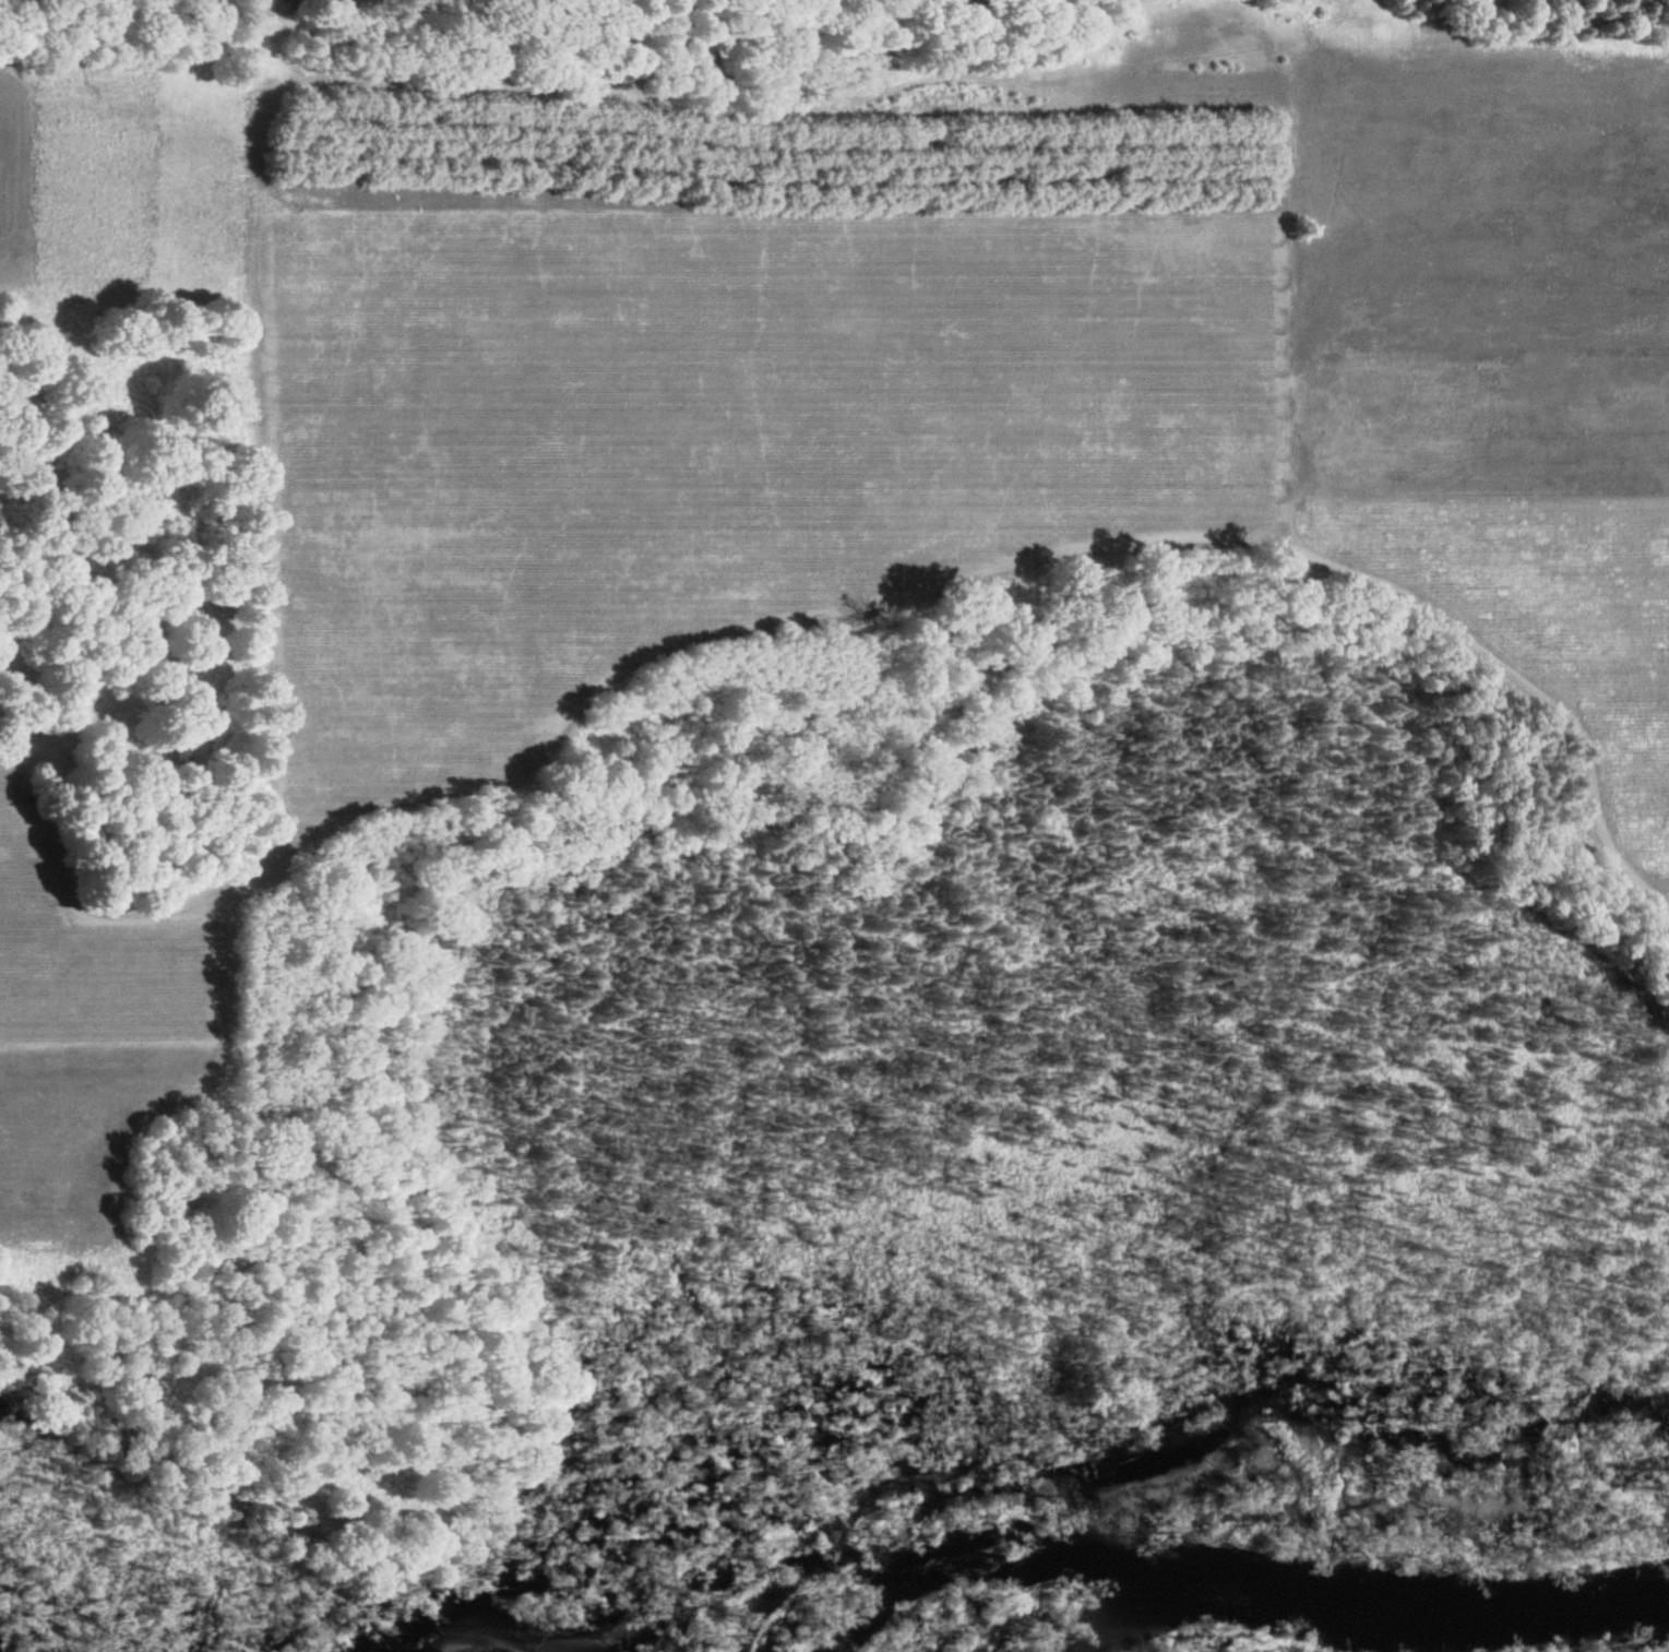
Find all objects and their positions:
river: (1367, 1596)

